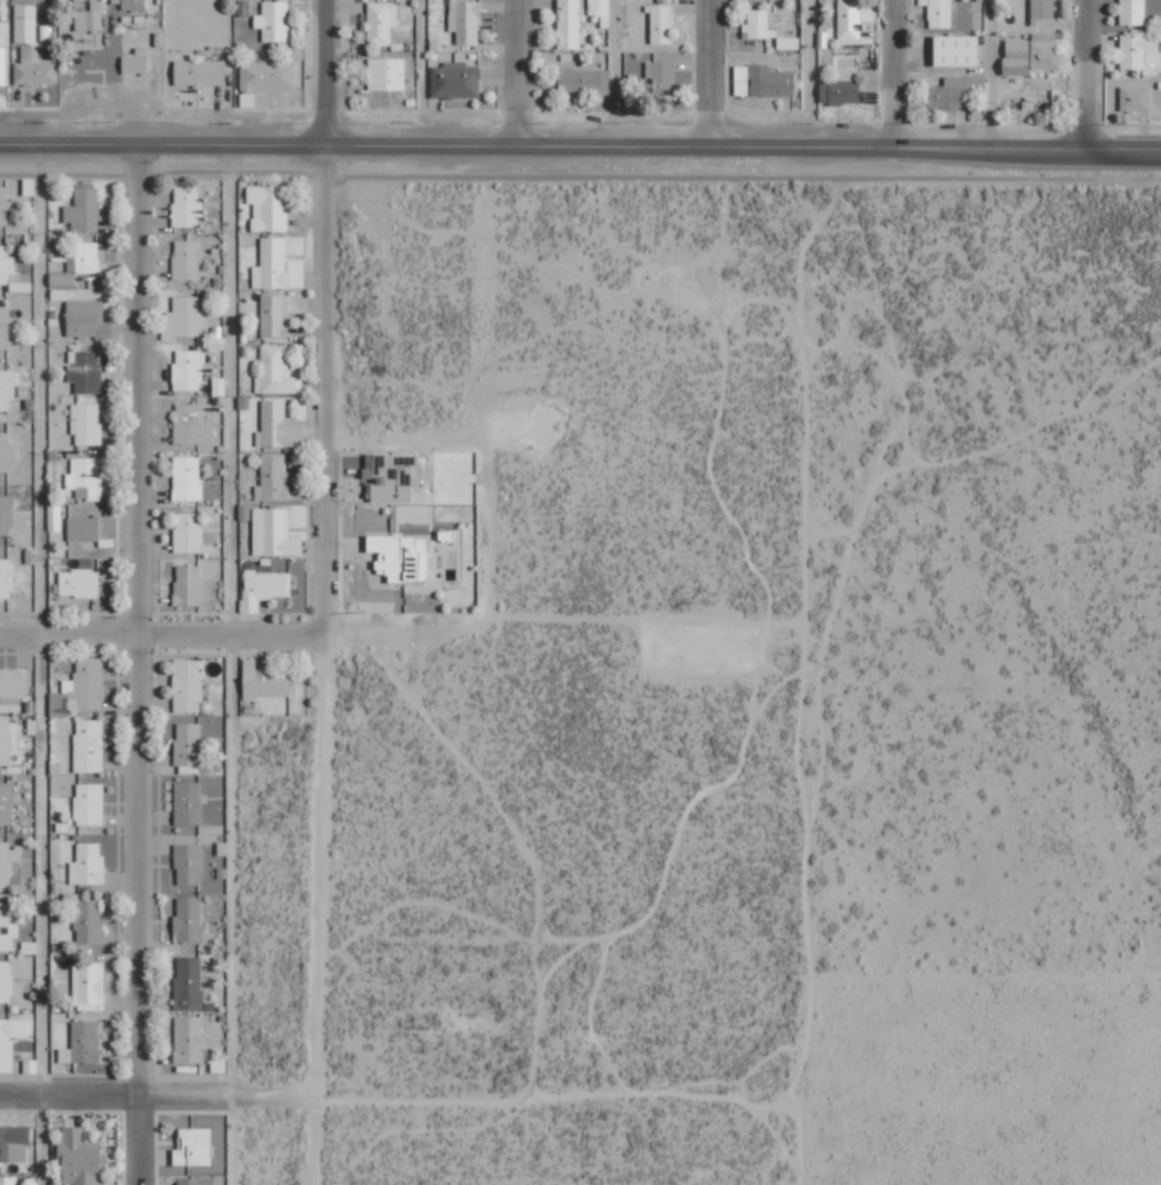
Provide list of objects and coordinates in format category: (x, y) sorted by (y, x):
building: (133, 5)
building: (600, 7)
building: (1043, 8)
building: (1132, 12)
building: (939, 13)
building: (89, 18)
building: (849, 19)
building: (273, 22)
building: (465, 22)
building: (380, 23)
building: (25, 24)
building: (570, 24)
building: (662, 24)
building: (758, 25)
building: (957, 52)
building: (1137, 52)
building: (1031, 54)
building: (4, 65)
building: (134, 65)
building: (34, 71)
building: (200, 73)
road: (516, 73)
road: (894, 73)
road: (1088, 73)
building: (386, 74)
road: (708, 74)
building: (267, 77)
building: (661, 79)
building: (456, 80)
building: (584, 82)
building: (763, 82)
building: (841, 89)
building: (954, 92)
building: (1135, 98)
building: (1040, 100)
road: (580, 146)
building: (187, 206)
building: (5, 207)
building: (269, 207)
building: (84, 210)
building: (186, 259)
building: (78, 264)
building: (6, 265)
building: (277, 266)
building: (275, 315)
building: (186, 317)
building: (5, 329)
building: (188, 369)
building: (85, 371)
building: (276, 373)
building: (7, 389)
building: (85, 419)
building: (188, 423)
building: (6, 453)
building: (392, 476)
building: (85, 477)
building: (187, 479)
building: (273, 479)
building: (6, 516)
building: (83, 528)
building: (271, 531)
building: (188, 533)
building: (402, 557)
building: (6, 579)
building: (79, 583)
building: (188, 585)
building: (263, 588)
road: (329, 592)
road: (164, 632)
road: (41, 664)
road: (138, 664)
road: (229, 664)
building: (13, 681)
building: (265, 681)
building: (187, 685)
building: (80, 688)
building: (7, 738)
building: (89, 745)
building: (6, 802)
building: (187, 802)
building: (89, 804)
building: (8, 862)
building: (88, 864)
building: (188, 864)
building: (188, 920)
building: (7, 927)
building: (5, 981)
building: (188, 982)
building: (89, 986)
building: (188, 1039)
building: (10, 1040)
building: (82, 1043)
road: (156, 1095)
building: (13, 1143)
building: (193, 1147)
building: (8, 1180)
building: (194, 1180)

